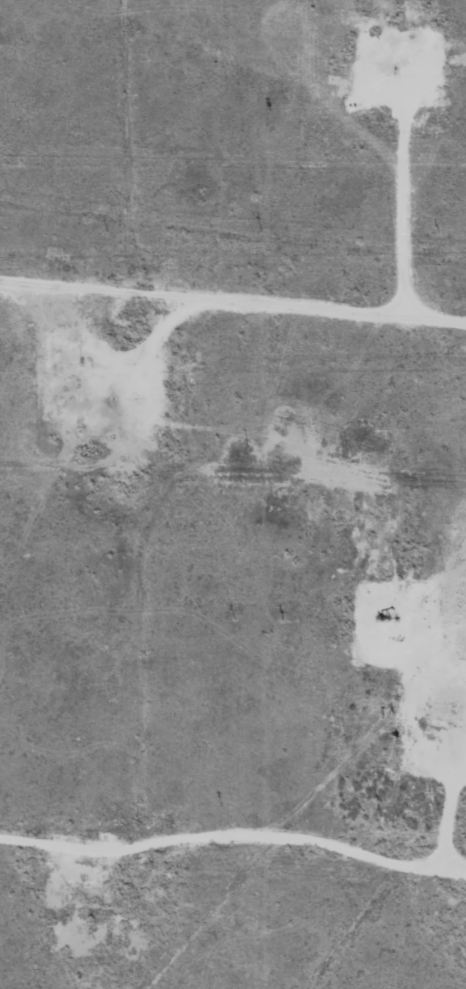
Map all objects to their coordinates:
road: (161, 401)
road: (235, 810)

